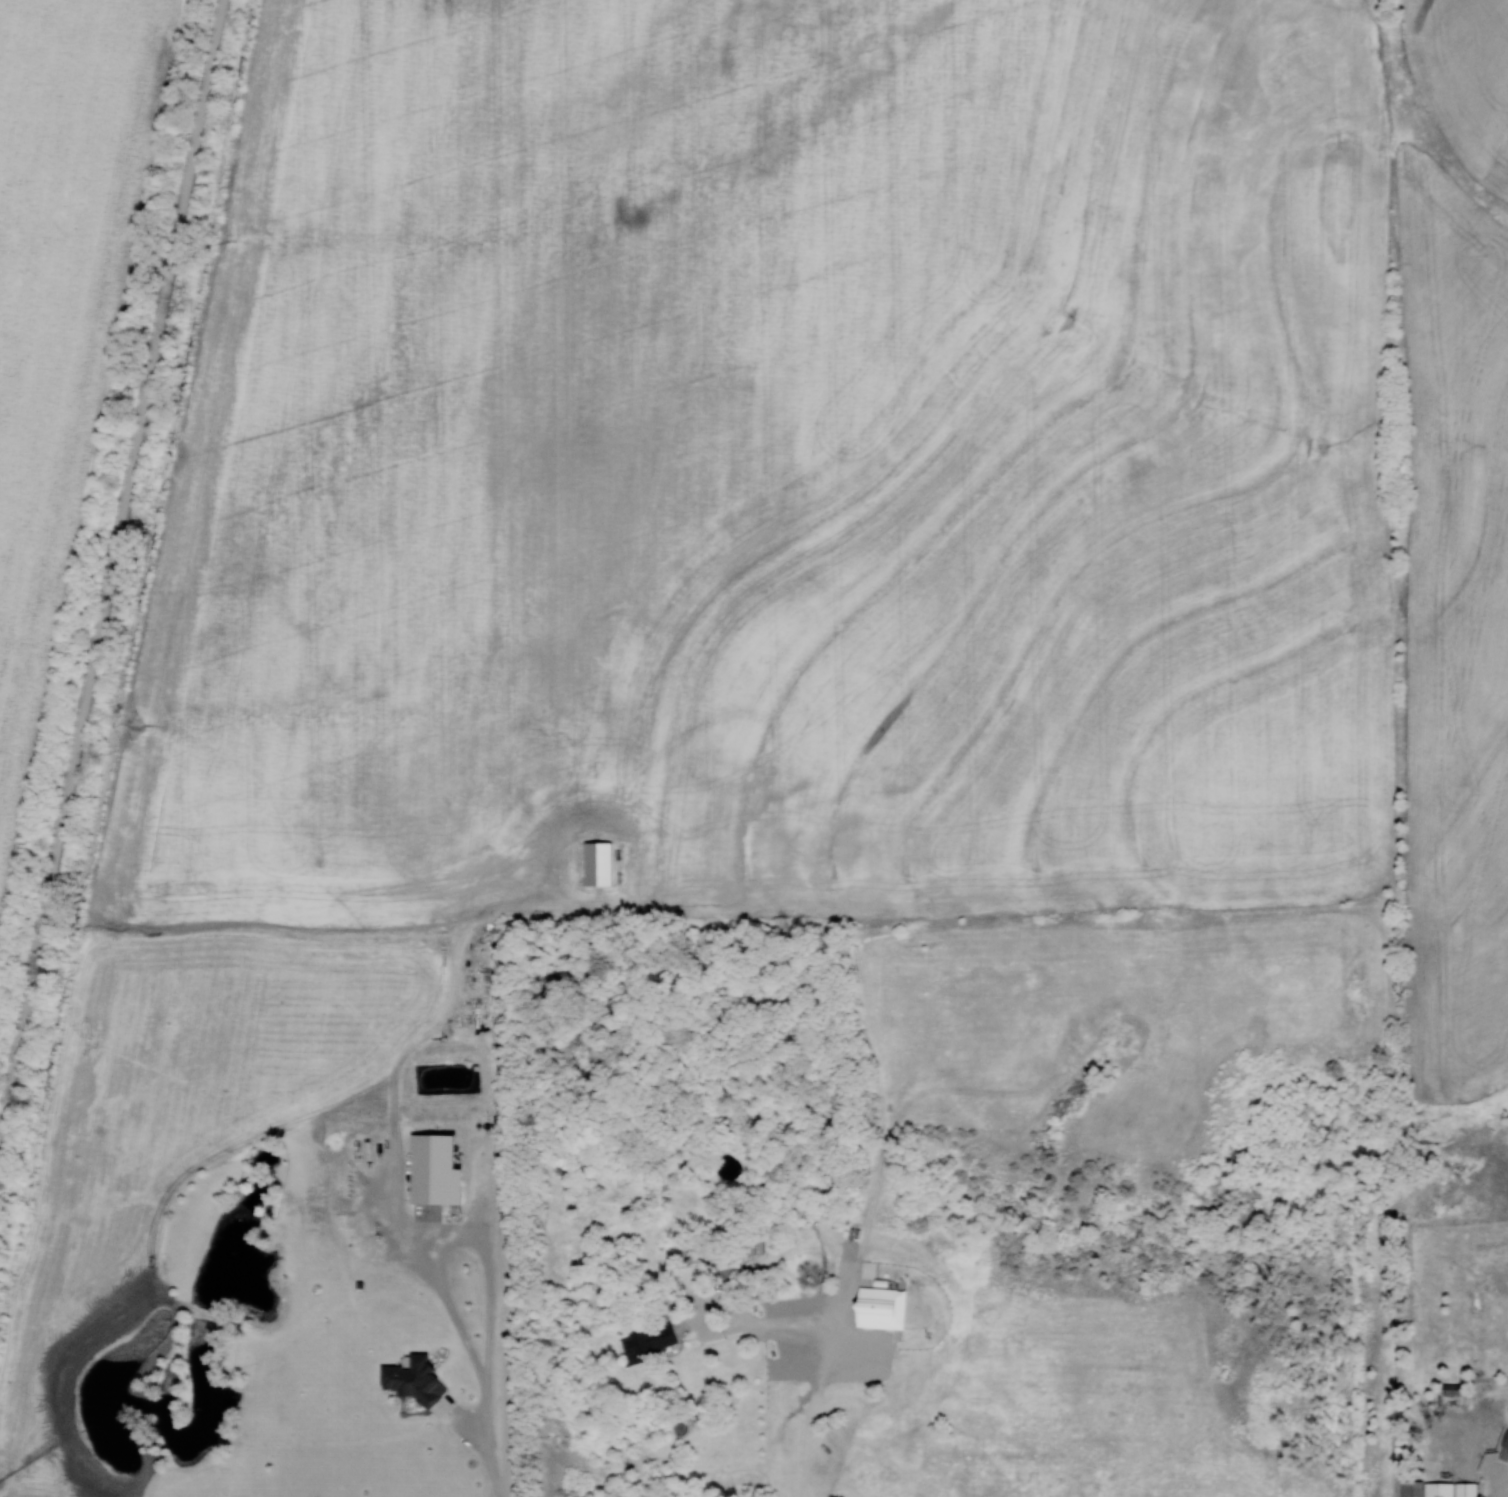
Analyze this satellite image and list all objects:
crop: (60, 308)
road: (111, 567)
building: (602, 861)
building: (737, 1270)
building: (883, 1306)
road: (514, 1308)
road: (735, 1311)
building: (645, 1344)
building: (1506, 1453)
building: (1444, 1488)

